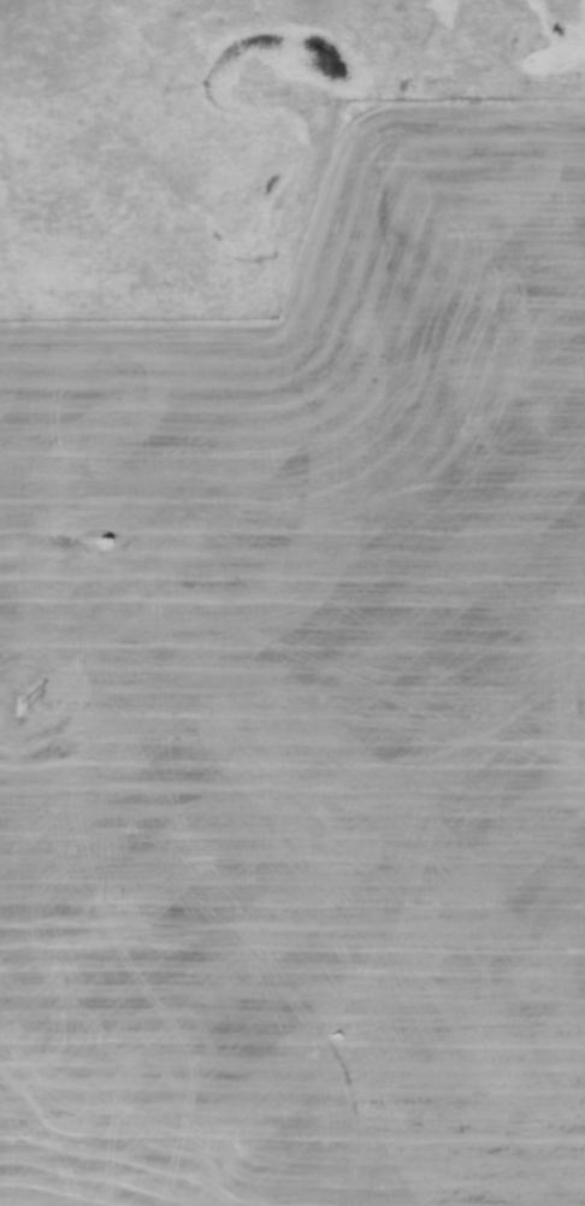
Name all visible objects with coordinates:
power tower: (17, 708)

